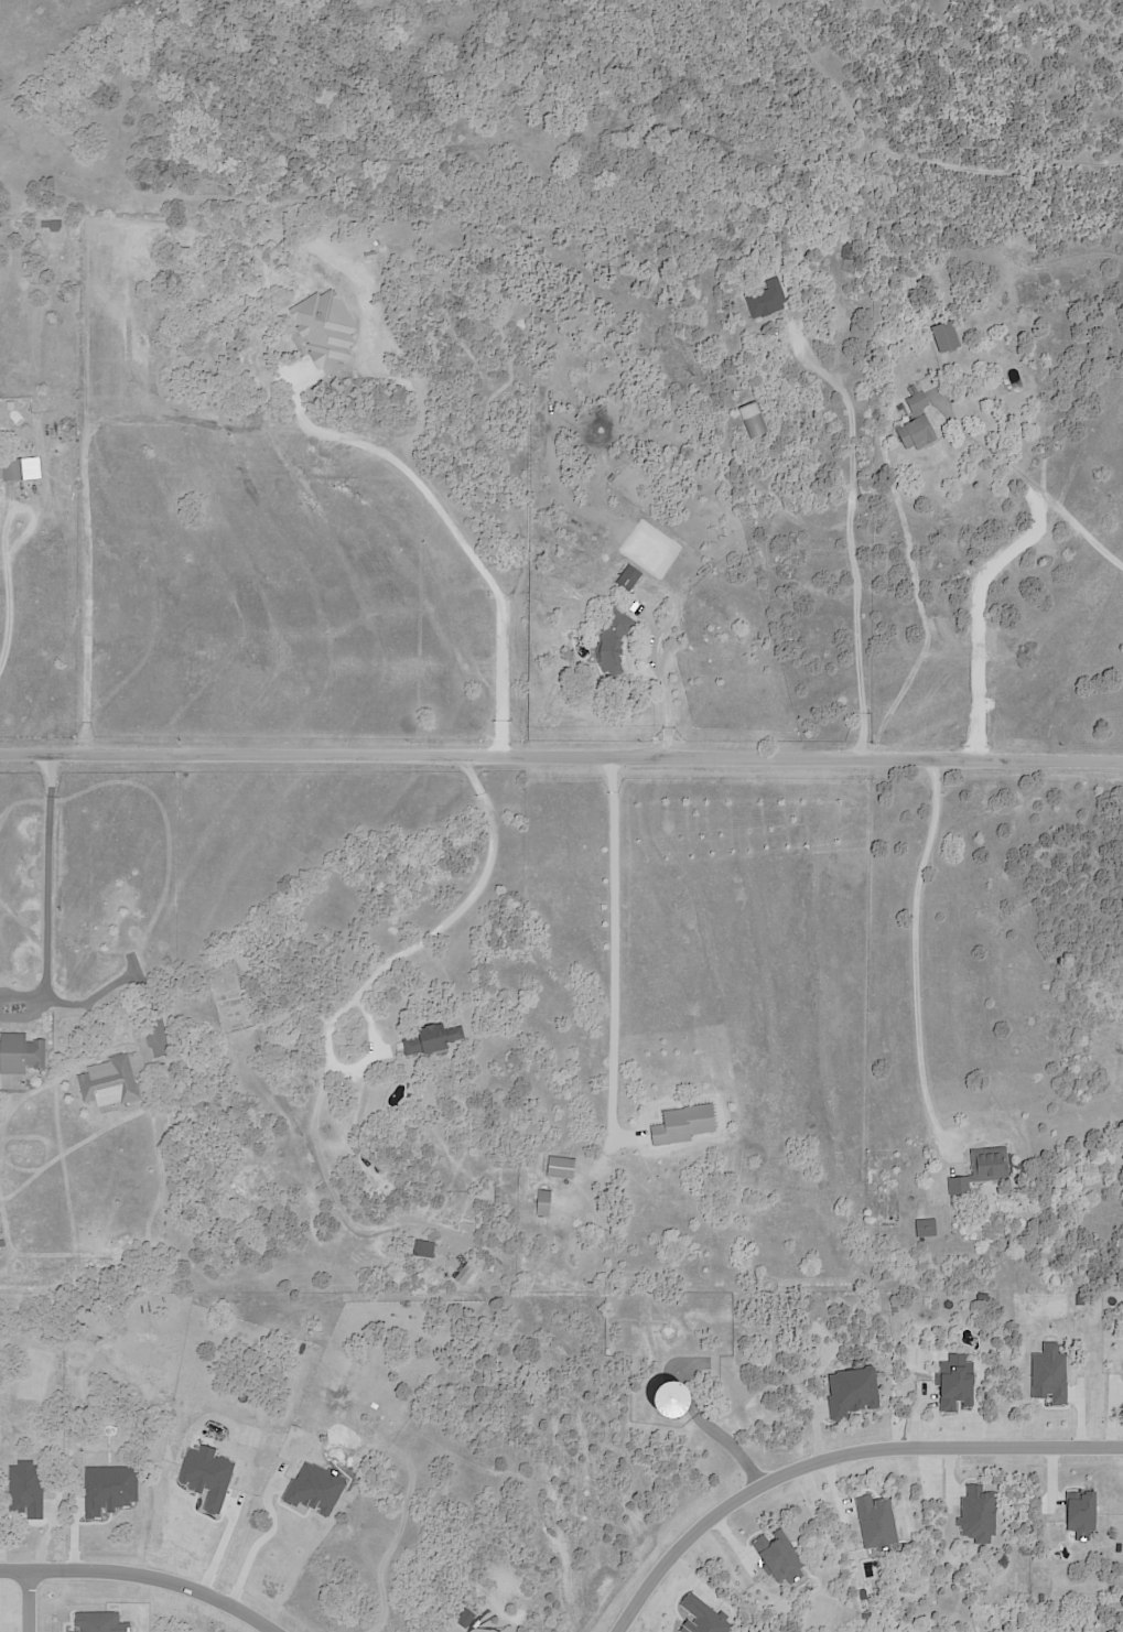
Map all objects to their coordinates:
building: (54, 224)
building: (766, 299)
building: (131, 314)
building: (155, 324)
building: (947, 336)
building: (259, 352)
building: (910, 389)
building: (916, 402)
building: (752, 419)
road: (251, 423)
building: (76, 432)
building: (916, 433)
building: (14, 469)
building: (0, 480)
road: (1035, 483)
road: (855, 549)
building: (629, 577)
road: (4, 582)
road: (981, 608)
building: (614, 639)
road: (561, 753)
road: (439, 925)
road: (611, 944)
road: (915, 945)
road: (44, 958)
building: (434, 1038)
building: (21, 1055)
building: (684, 1125)
building: (561, 1167)
building: (981, 1169)
building: (546, 1202)
building: (926, 1226)
building: (3, 1243)
building: (665, 1329)
road: (834, 1456)
road: (259, 1537)
road: (223, 1554)
road: (136, 1579)
road: (24, 1601)

